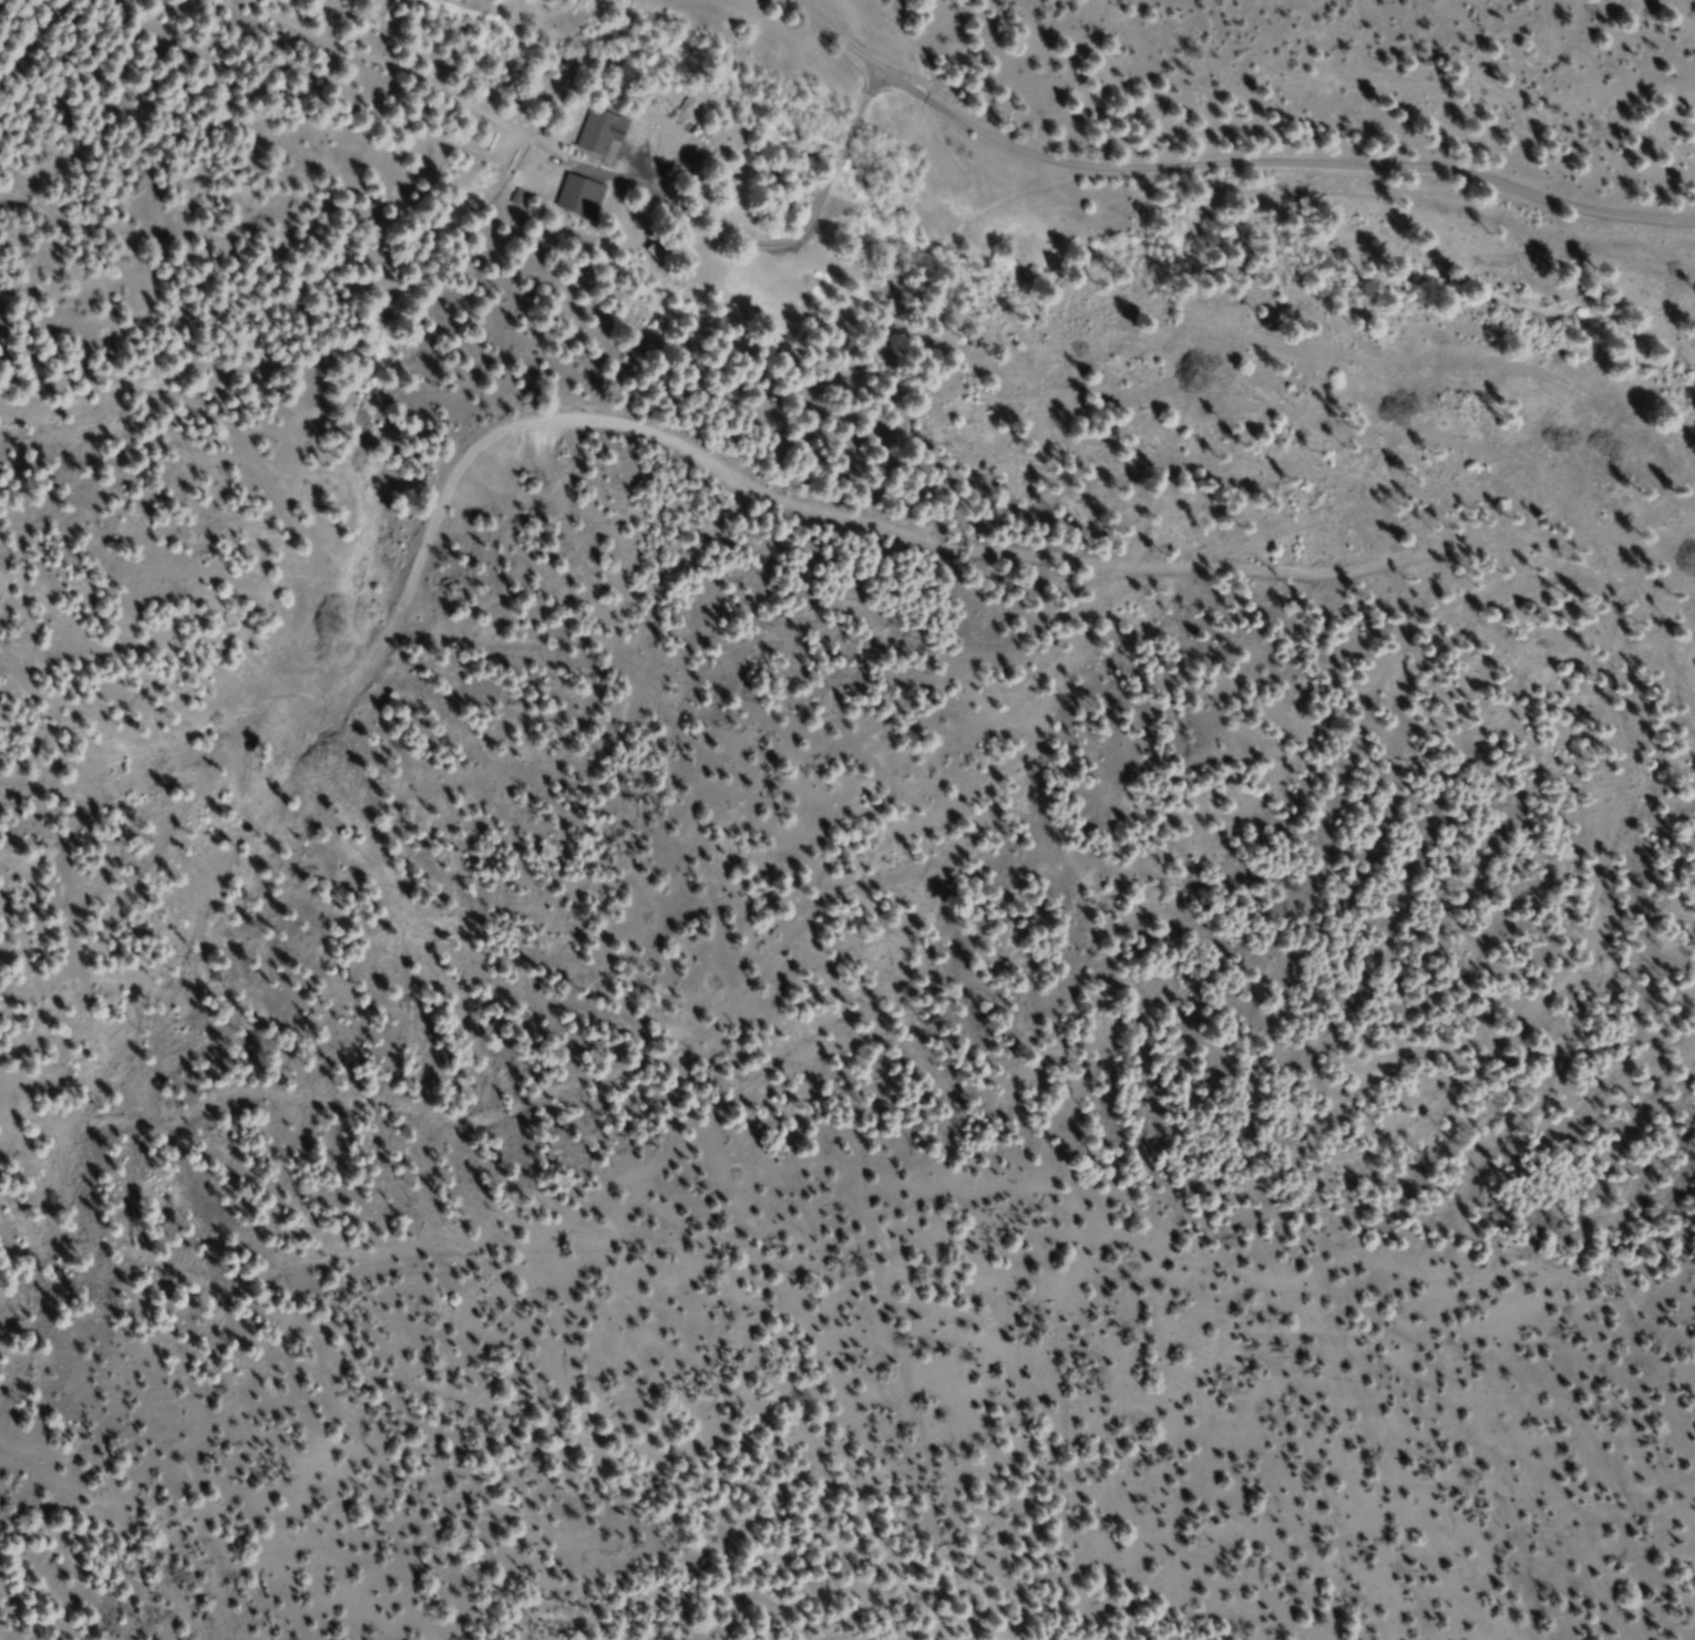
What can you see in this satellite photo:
building: (602, 132)
road: (1206, 186)
building: (581, 196)

